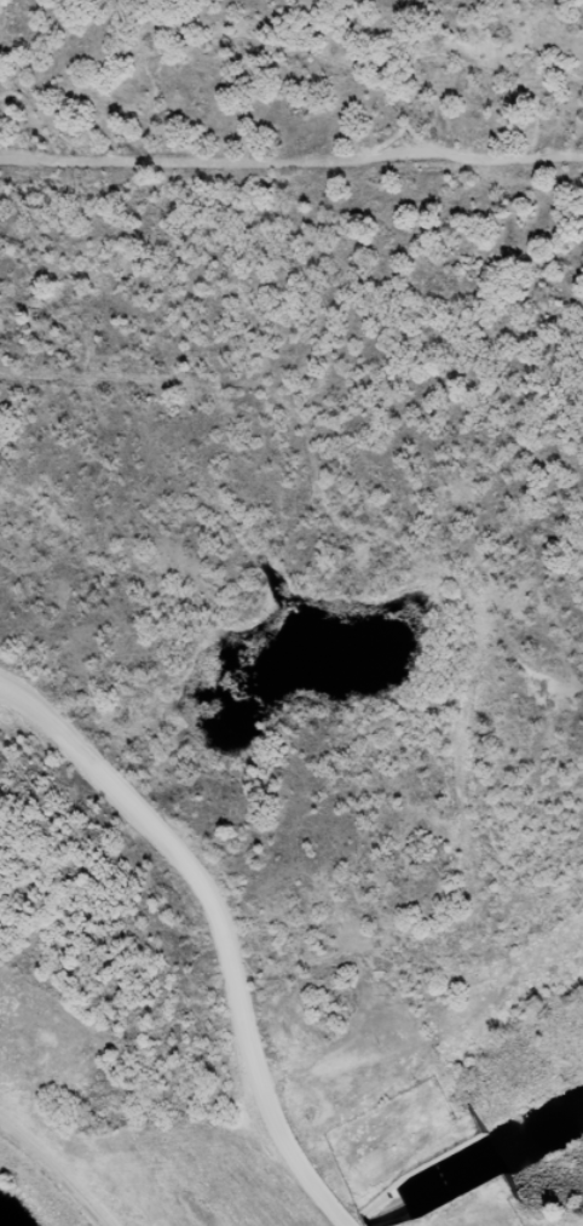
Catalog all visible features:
road: (220, 923)
road: (53, 1171)
dam: (74, 1171)

